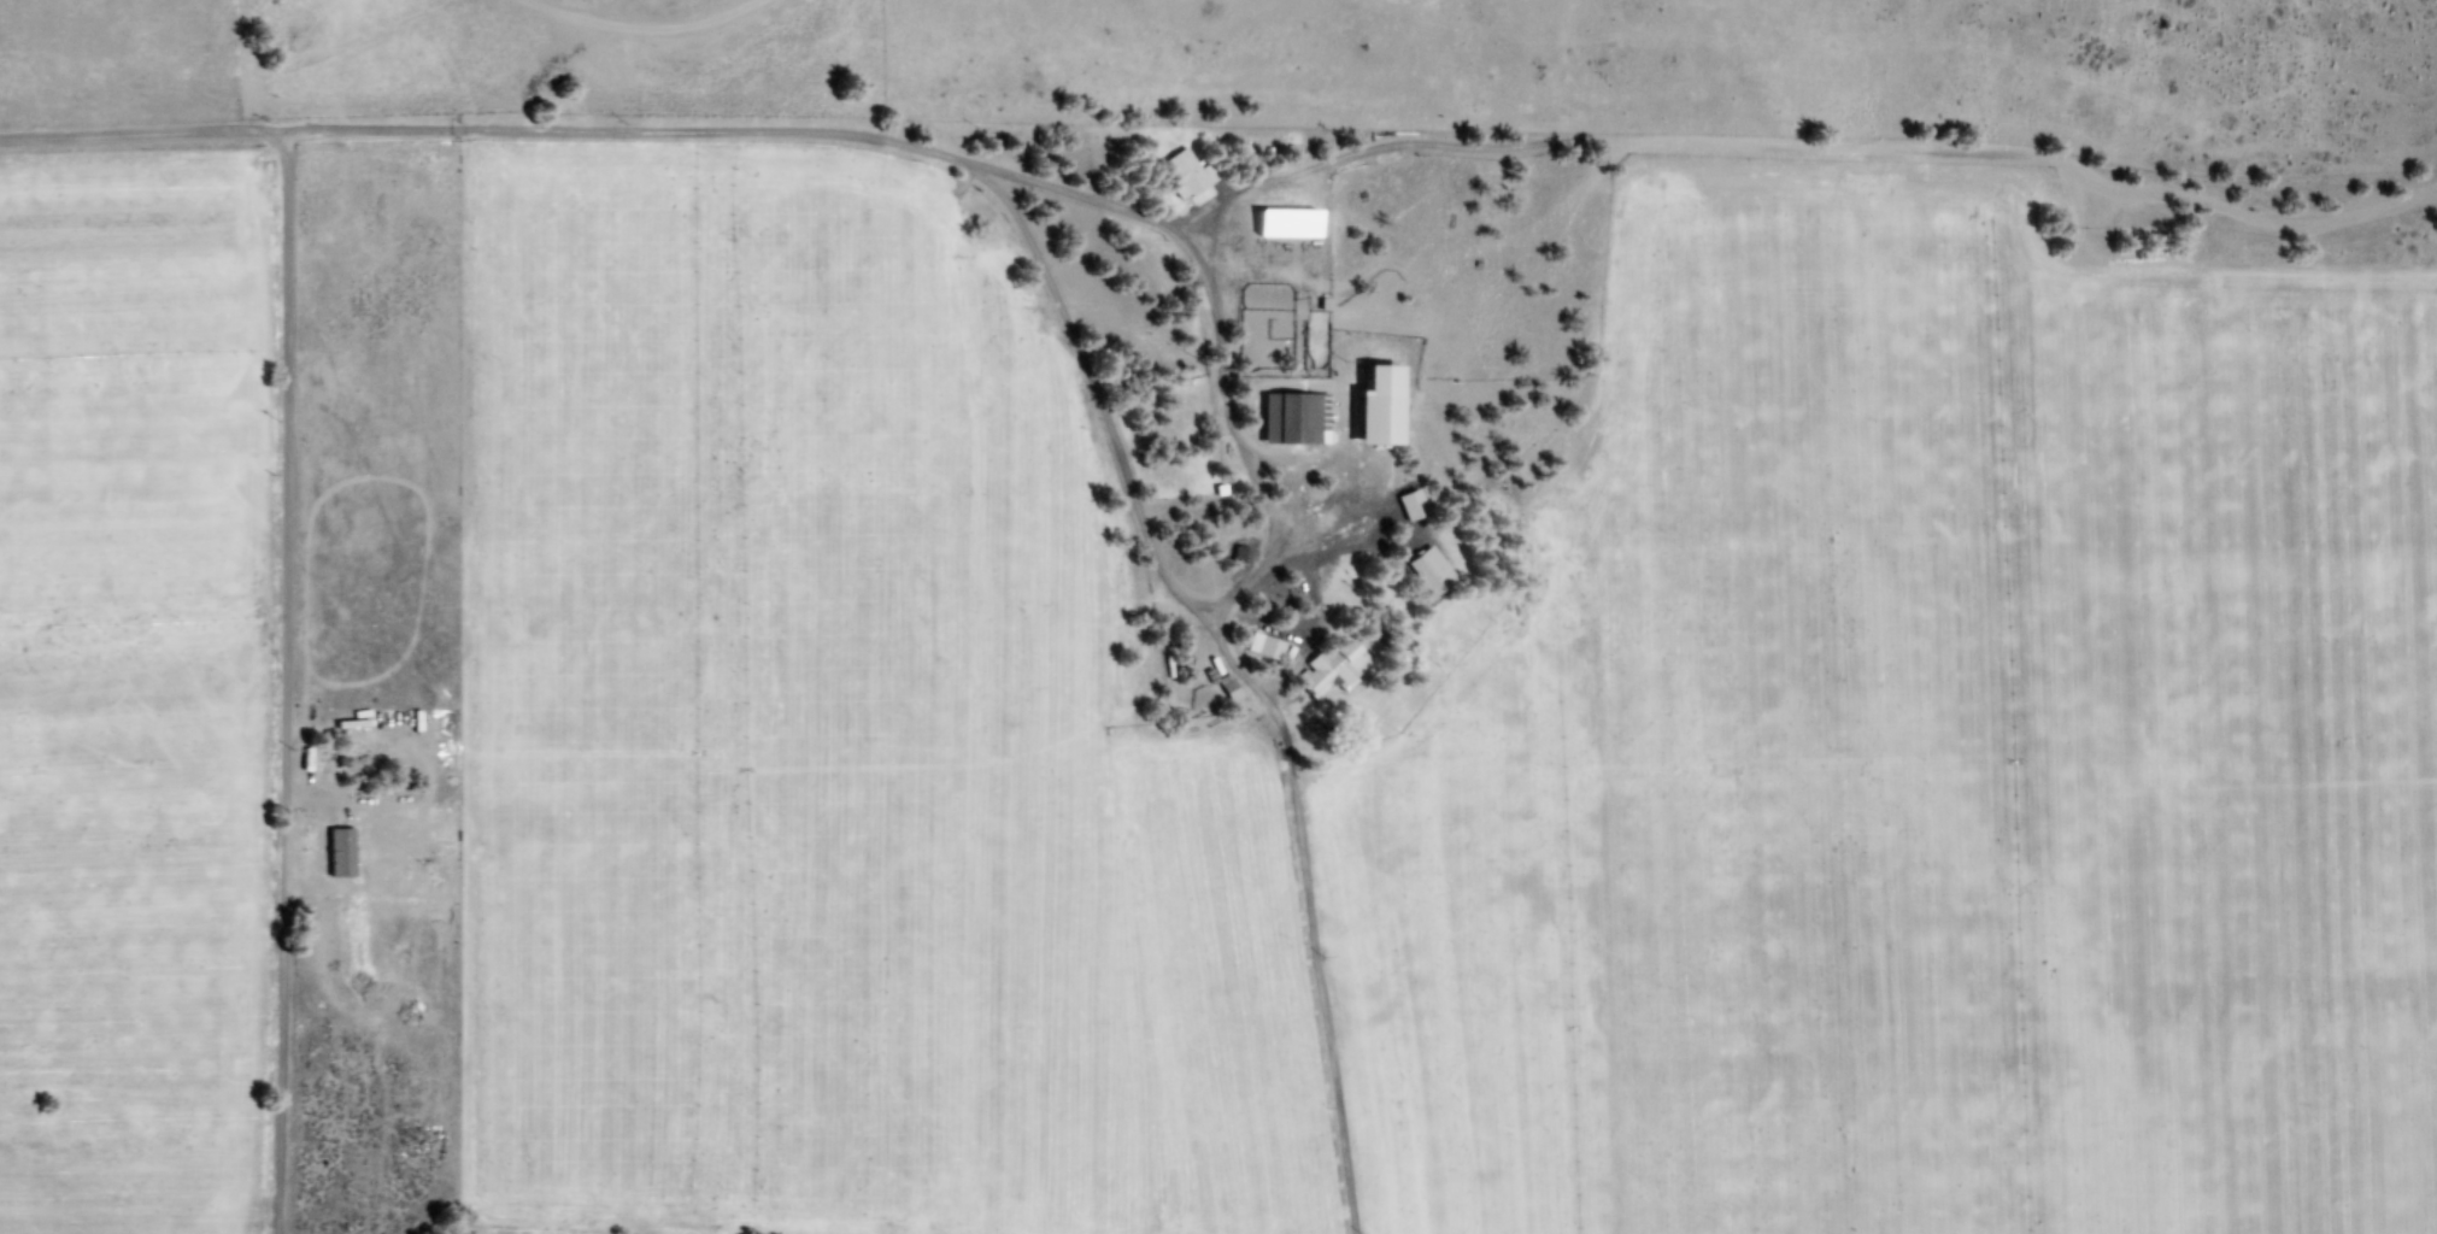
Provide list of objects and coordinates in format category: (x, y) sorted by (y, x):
road: (945, 157)
building: (1185, 175)
building: (1280, 223)
building: (1370, 407)
building: (1290, 419)
building: (1408, 505)
road: (283, 546)
building: (1426, 571)
building: (1261, 647)
building: (1331, 669)
building: (336, 853)

